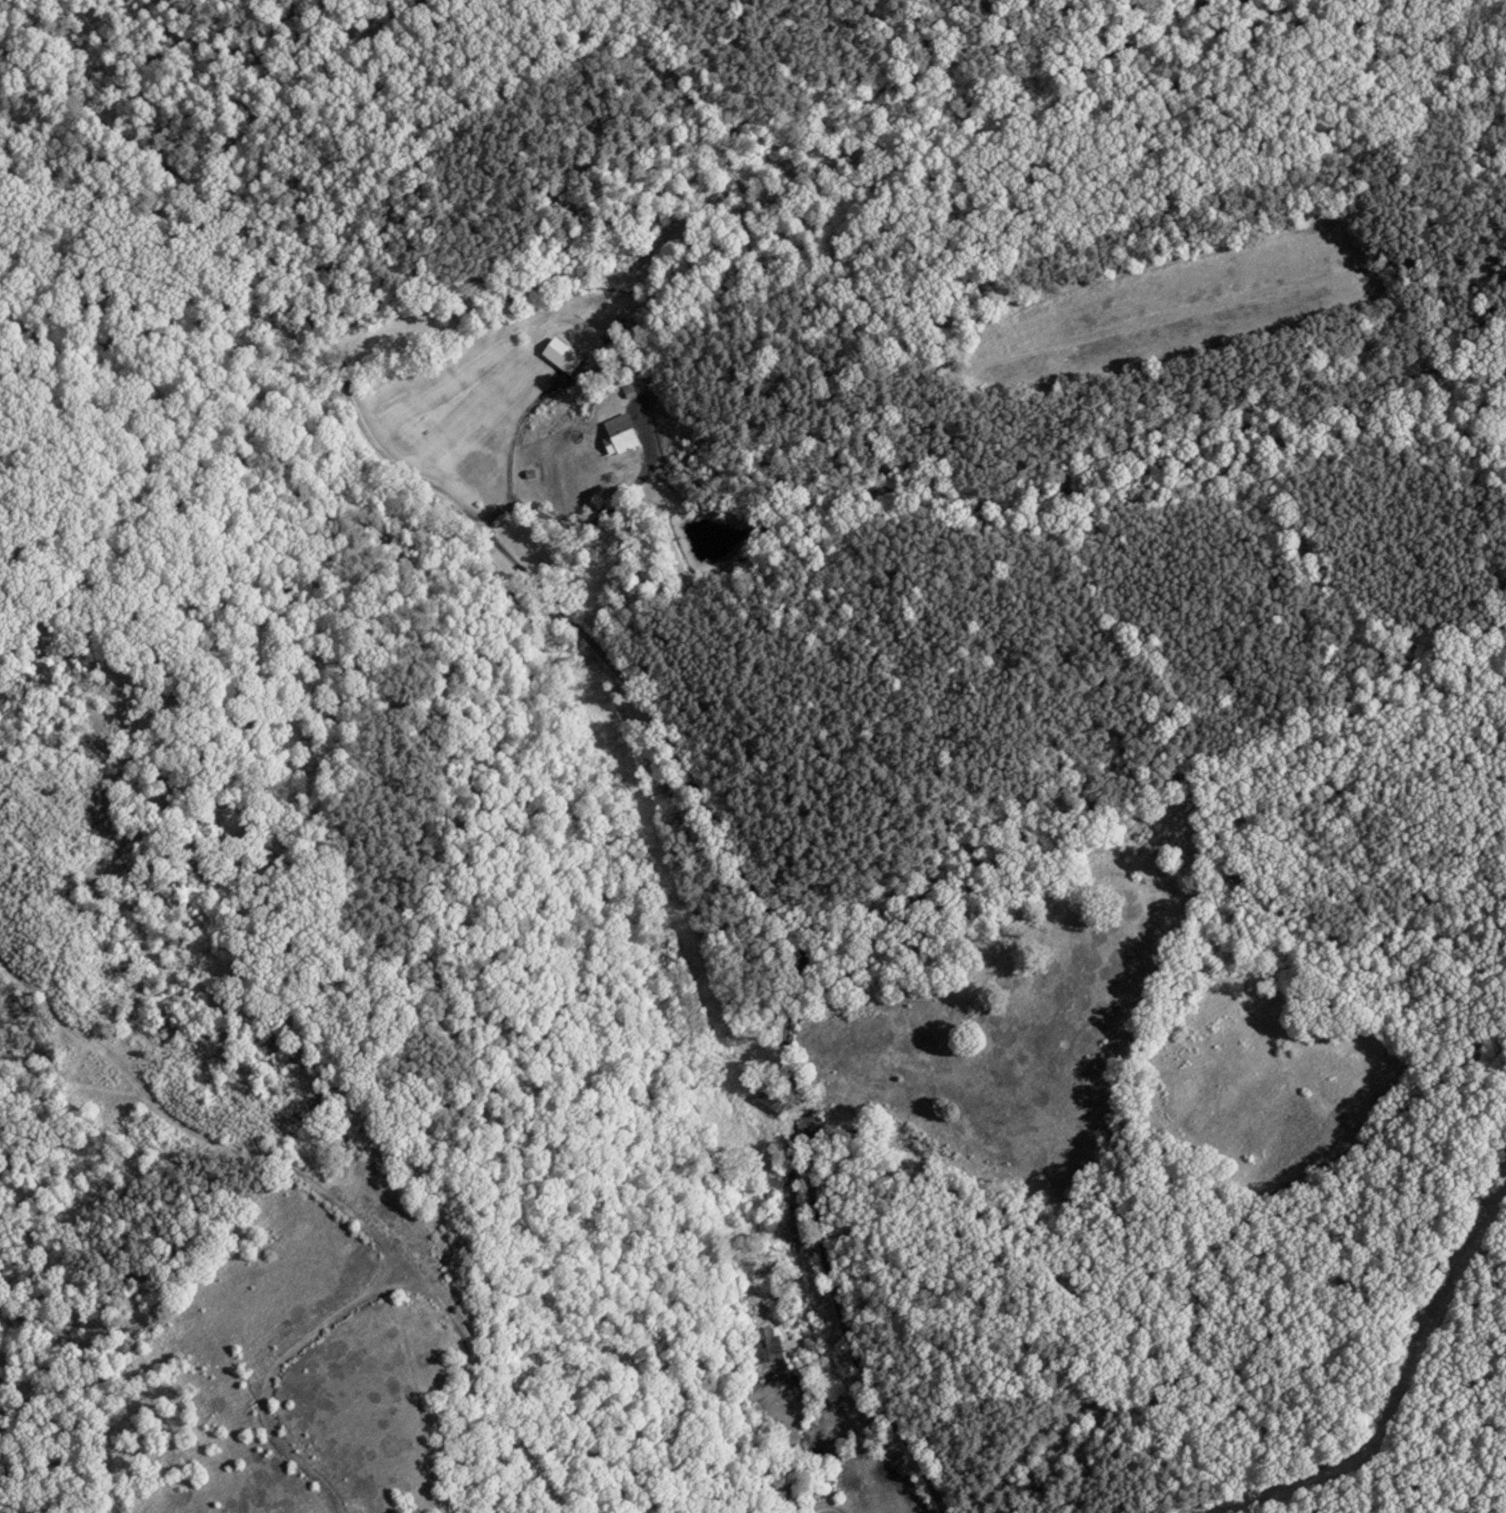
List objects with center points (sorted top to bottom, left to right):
building: (633, 389)
building: (621, 435)
building: (492, 477)
road: (627, 688)
building: (770, 1099)
building: (766, 1346)

